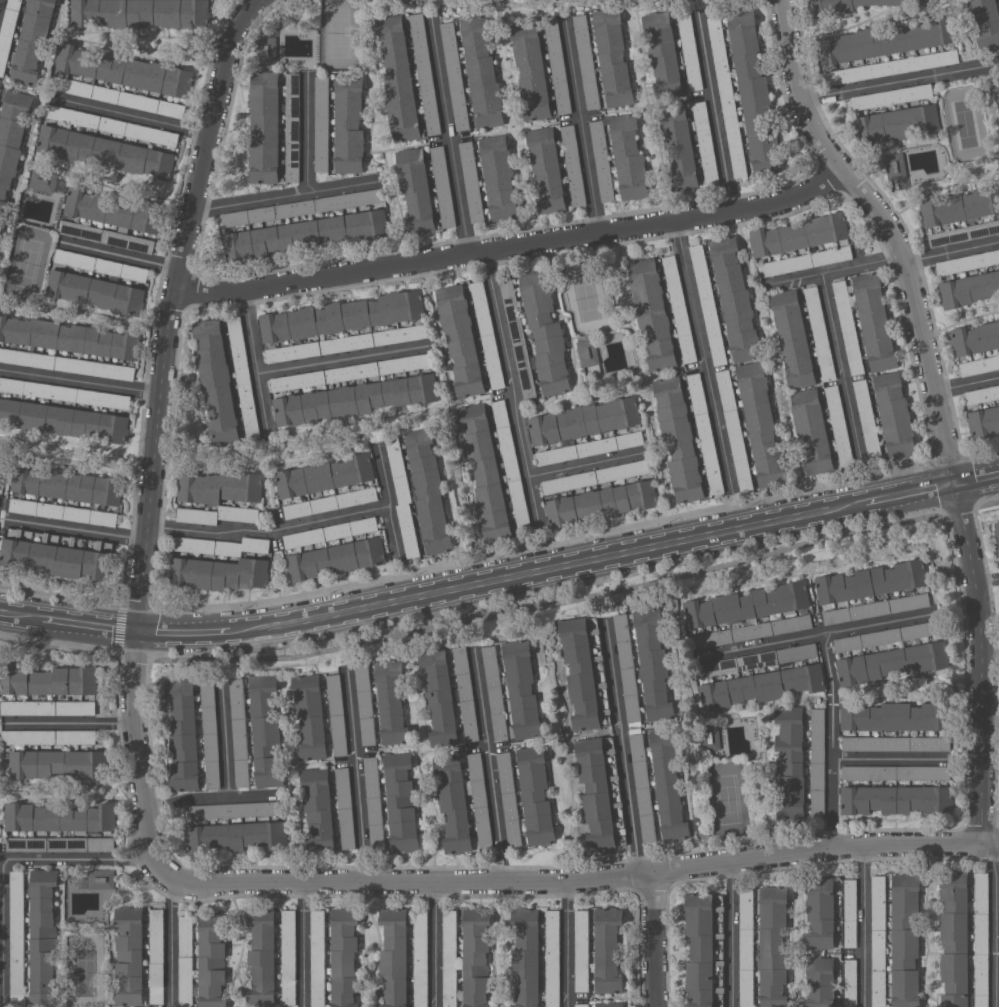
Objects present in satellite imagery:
building: (843, 5)
building: (140, 13)
building: (987, 23)
park: (338, 29)
building: (8, 32)
building: (886, 39)
building: (32, 42)
building: (689, 49)
building: (267, 50)
building: (662, 53)
building: (613, 57)
building: (586, 61)
building: (557, 66)
building: (891, 67)
building: (125, 70)
building: (531, 70)
building: (425, 73)
building: (481, 73)
building: (454, 76)
building: (398, 78)
road: (902, 81)
building: (994, 85)
building: (0, 90)
building: (753, 93)
building: (117, 96)
building: (726, 96)
building: (892, 96)
road: (714, 110)
road: (132, 112)
building: (321, 123)
park: (966, 123)
building: (349, 124)
building: (897, 124)
building: (111, 125)
building: (265, 126)
building: (292, 126)
road: (580, 126)
road: (307, 131)
road: (449, 134)
building: (11, 139)
building: (705, 141)
building: (679, 146)
building: (104, 151)
building: (629, 157)
building: (602, 160)
building: (573, 165)
building: (895, 165)
building: (546, 169)
building: (499, 177)
building: (46, 181)
building: (471, 181)
building: (442, 186)
building: (415, 190)
road: (284, 194)
building: (300, 207)
building: (960, 207)
building: (114, 210)
building: (1, 229)
building: (964, 233)
building: (305, 234)
building: (799, 234)
building: (108, 237)
road: (513, 246)
road: (952, 250)
road: (121, 254)
building: (805, 261)
park: (27, 262)
building: (967, 262)
building: (101, 265)
road: (837, 272)
building: (969, 289)
building: (95, 291)
park: (587, 297)
building: (735, 300)
building: (708, 304)
building: (679, 308)
building: (652, 313)
building: (342, 316)
building: (874, 322)
building: (848, 327)
building: (545, 332)
building: (487, 333)
building: (819, 333)
building: (69, 337)
building: (460, 338)
building: (518, 338)
building: (793, 338)
building: (975, 338)
building: (347, 343)
road: (703, 355)
road: (148, 356)
building: (588, 357)
building: (68, 364)
road: (298, 365)
road: (841, 366)
building: (979, 366)
building: (350, 372)
building: (243, 377)
road: (81, 378)
building: (216, 382)
road: (967, 383)
road: (512, 389)
building: (65, 393)
building: (982, 394)
building: (353, 399)
road: (939, 405)
building: (895, 414)
building: (867, 419)
building: (63, 420)
building: (584, 421)
building: (984, 422)
building: (761, 423)
building: (839, 425)
building: (734, 430)
building: (812, 430)
building: (705, 433)
building: (678, 439)
building: (589, 447)
road: (585, 463)
building: (511, 467)
building: (1, 471)
building: (485, 472)
building: (325, 476)
building: (594, 476)
road: (978, 478)
building: (67, 484)
building: (220, 487)
building: (428, 491)
building: (403, 496)
building: (331, 502)
building: (600, 503)
building: (63, 512)
building: (217, 514)
road: (301, 523)
road: (74, 527)
road: (393, 531)
building: (997, 531)
building: (330, 532)
building: (222, 545)
building: (58, 553)
building: (336, 559)
road: (596, 559)
building: (218, 573)
road: (987, 579)
building: (872, 582)
building: (746, 605)
building: (877, 608)
road: (20, 616)
road: (90, 626)
building: (752, 631)
road: (187, 632)
road: (820, 634)
building: (887, 636)
road: (94, 647)
building: (757, 659)
building: (892, 662)
building: (653, 664)
building: (627, 668)
building: (586, 672)
building: (48, 680)
building: (760, 686)
building: (522, 689)
building: (466, 693)
building: (495, 693)
building: (440, 697)
building: (391, 701)
building: (366, 704)
building: (48, 708)
building: (337, 715)
building: (310, 716)
building: (895, 716)
road: (68, 723)
road: (990, 727)
building: (266, 730)
building: (240, 732)
building: (210, 733)
building: (184, 735)
building: (48, 737)
building: (709, 737)
road: (226, 743)
road: (833, 743)
building: (896, 743)
road: (623, 747)
road: (890, 759)
building: (790, 762)
building: (818, 762)
building: (57, 763)
road: (488, 765)
building: (896, 772)
road: (359, 775)
building: (668, 784)
building: (643, 787)
building: (601, 792)
building: (535, 796)
building: (509, 799)
building: (896, 799)
road: (211, 800)
building: (462, 800)
building: (401, 801)
park: (727, 801)
building: (374, 804)
building: (345, 808)
building: (236, 809)
building: (318, 810)
building: (60, 817)
building: (236, 836)
building: (61, 844)
road: (153, 845)
road: (8, 860)
building: (98, 879)
building: (820, 913)
building: (850, 913)
road: (997, 924)
road: (864, 929)
road: (732, 935)
building: (42, 938)
building: (954, 938)
building: (17, 939)
road: (172, 939)
road: (657, 939)
building: (981, 939)
building: (906, 940)
building: (878, 941)
road: (303, 944)
road: (437, 944)
road: (568, 944)
building: (773, 945)
building: (747, 947)
building: (608, 949)
building: (705, 949)
building: (582, 950)
building: (129, 955)
building: (344, 955)
building: (157, 956)
building: (262, 956)
building: (394, 956)
building: (476, 956)
building: (527, 956)
building: (289, 957)
building: (318, 958)
building: (421, 958)
building: (450, 958)
building: (553, 958)
building: (185, 961)
building: (212, 961)
park: (85, 970)
building: (820, 981)
building: (849, 983)
building: (609, 1004)
building: (582, 1005)

